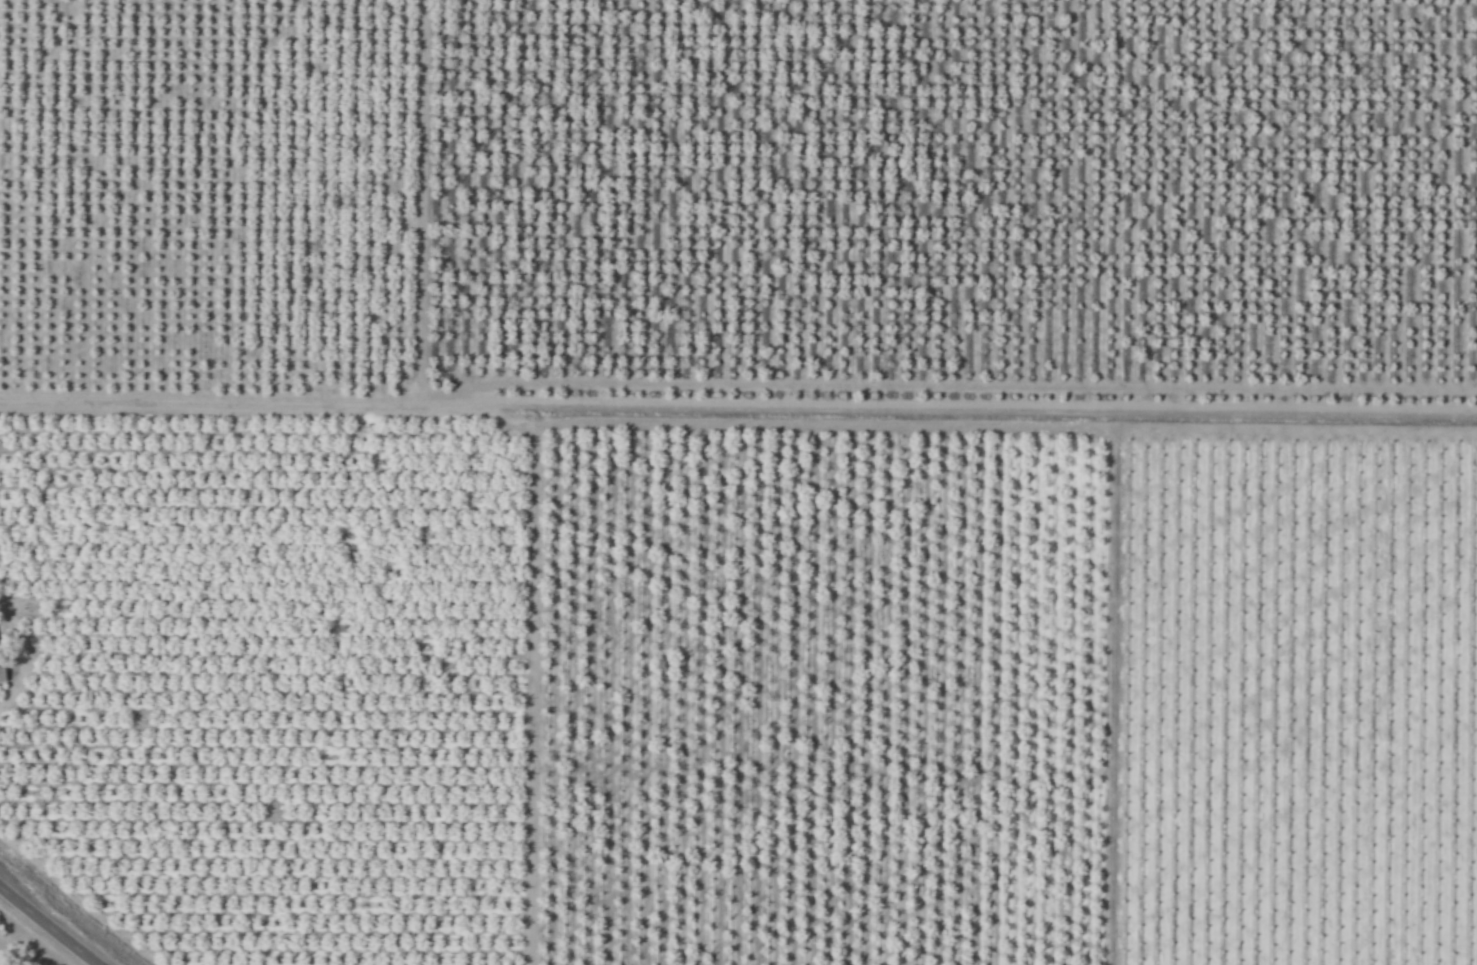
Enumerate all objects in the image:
road: (49, 924)

